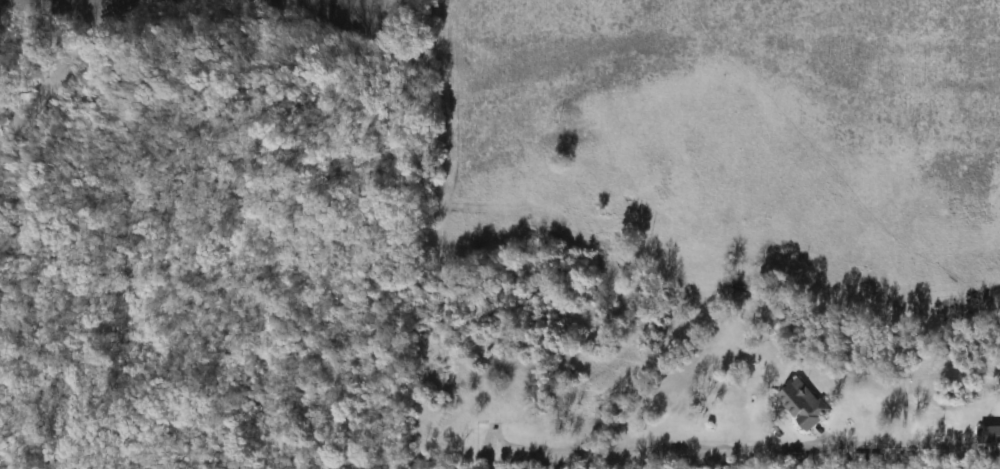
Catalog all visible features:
building: (799, 403)
building: (987, 430)
road: (971, 445)
road: (707, 447)

